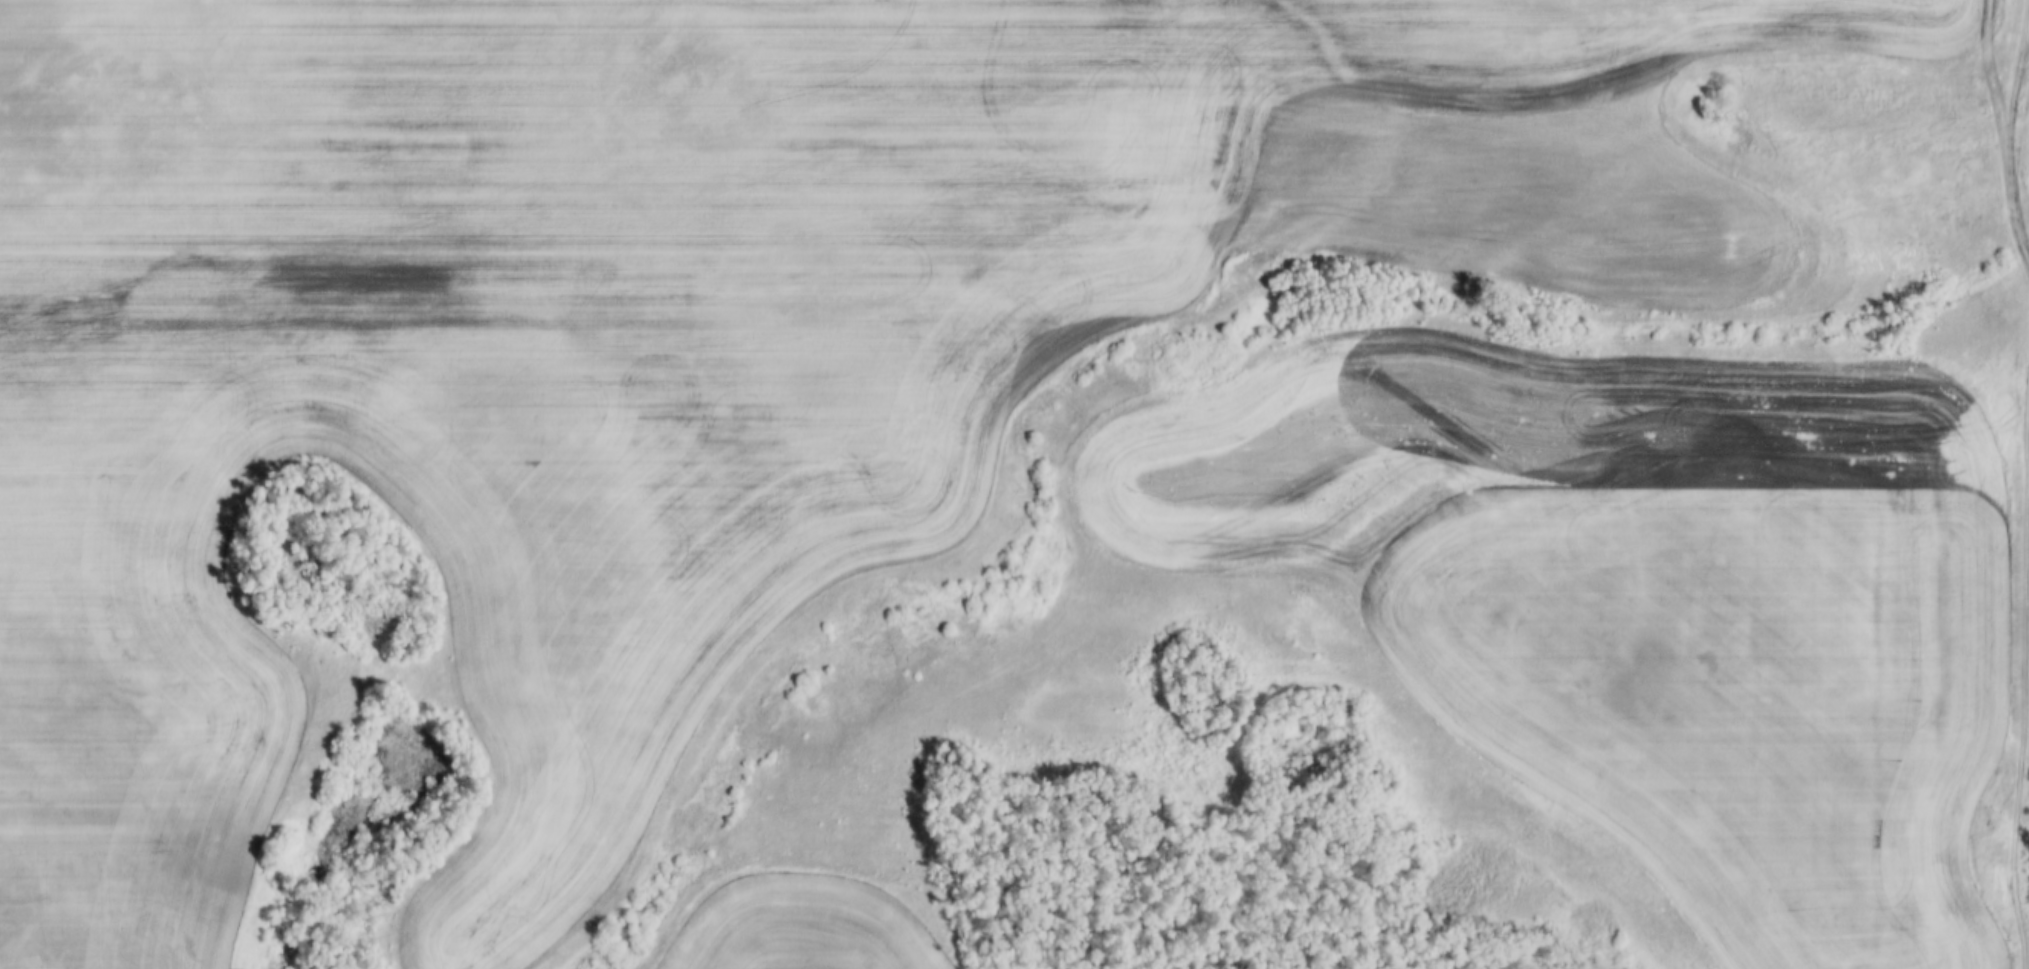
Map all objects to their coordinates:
road: (2026, 56)
road: (2021, 755)

